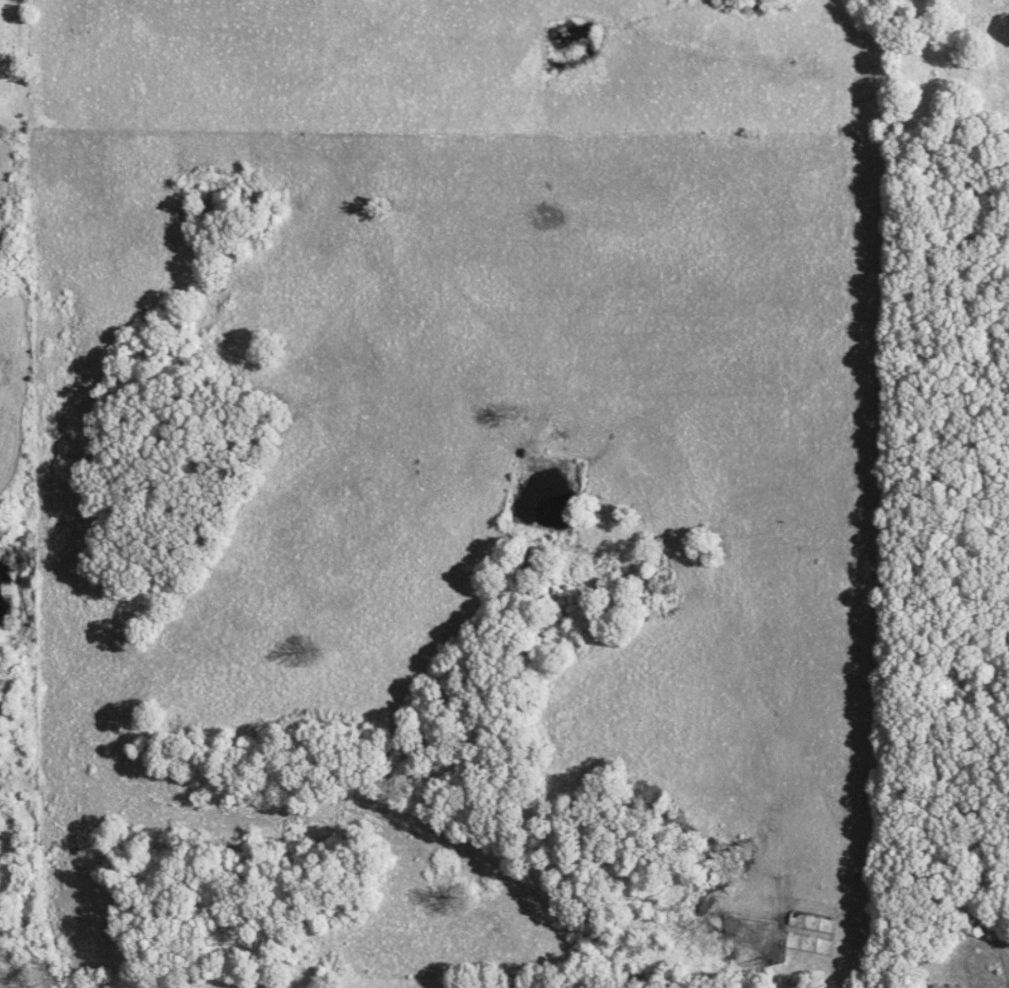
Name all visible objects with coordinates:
road: (846, 951)

